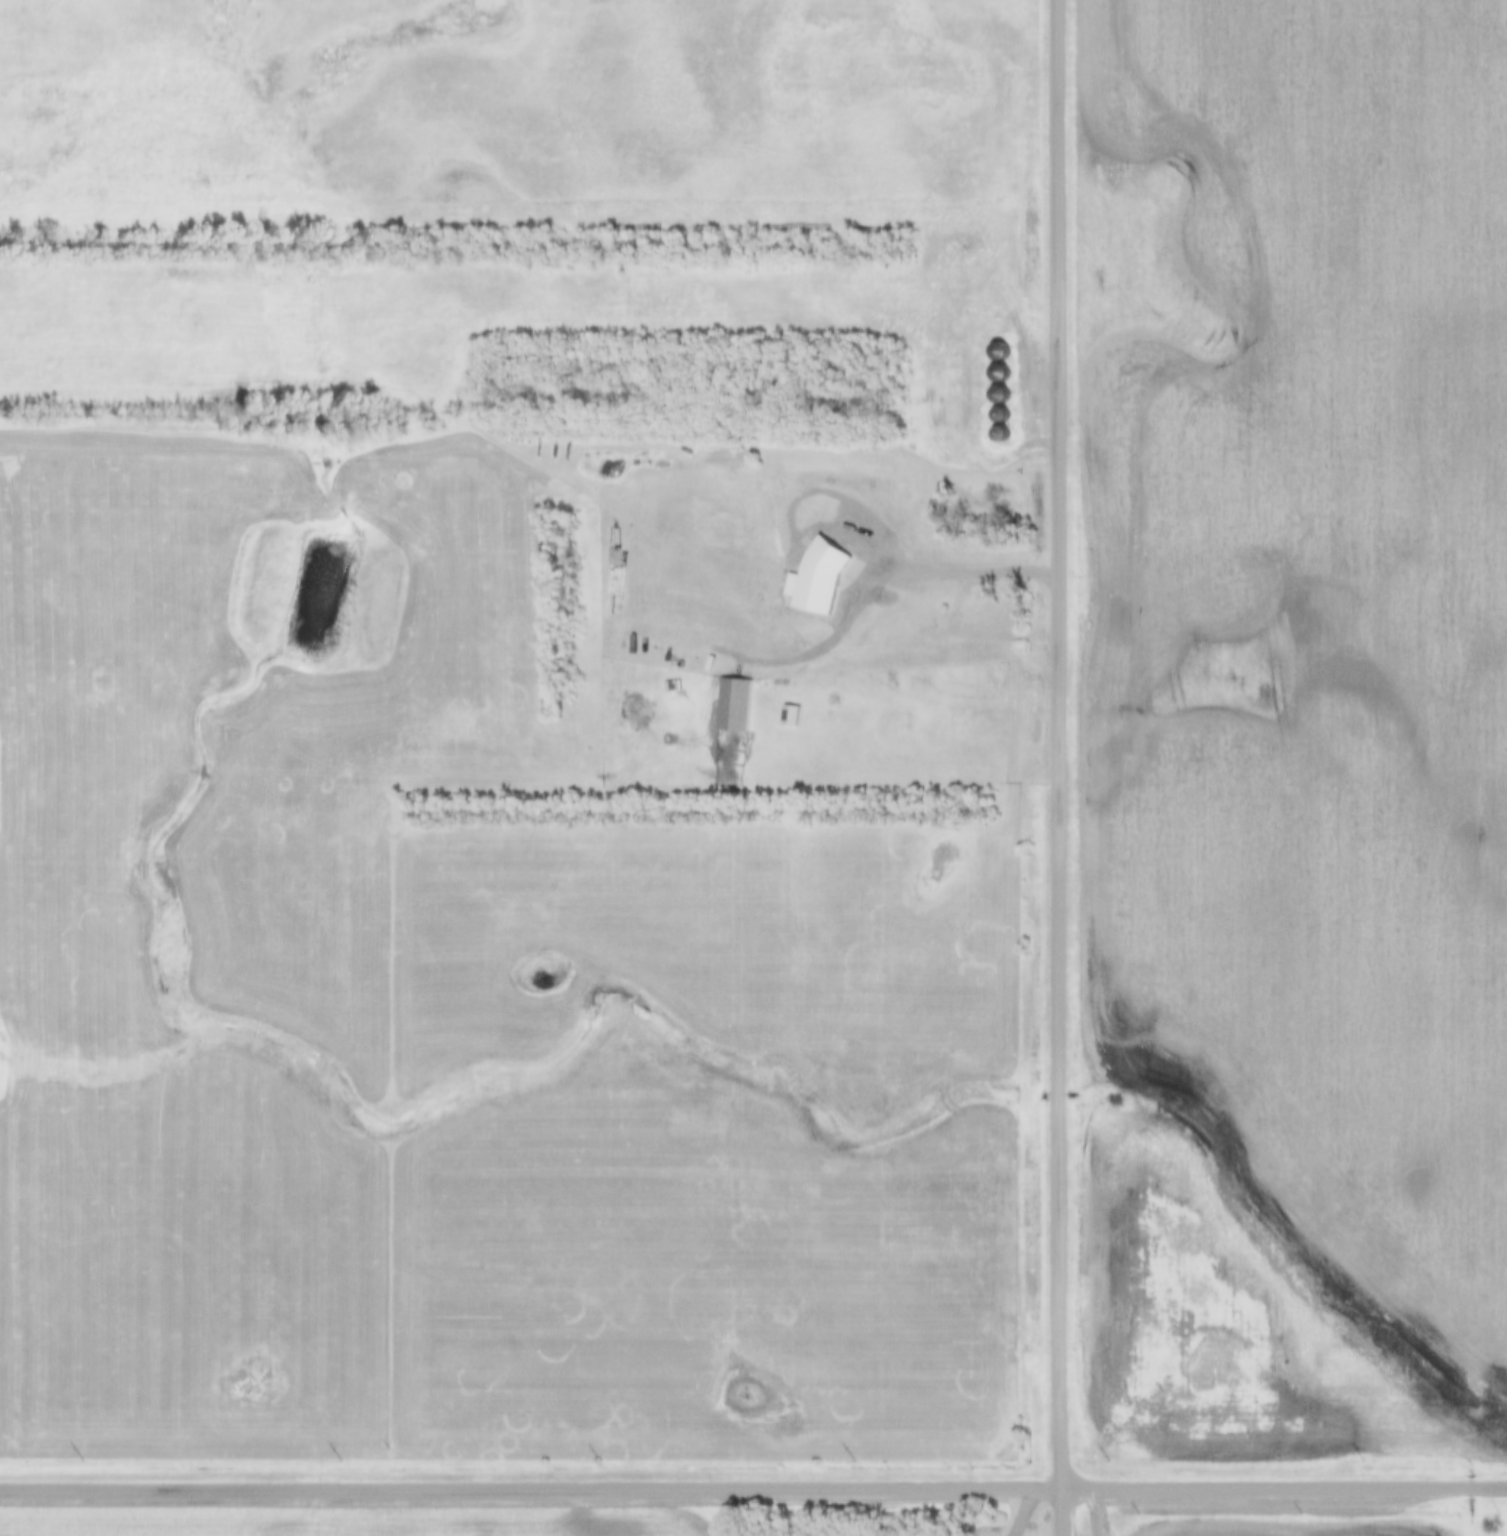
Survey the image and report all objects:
building: (993, 361)
building: (992, 394)
building: (996, 421)
building: (971, 617)
road: (654, 619)
building: (918, 635)
road: (1061, 768)
road: (753, 1487)
road: (1026, 1512)

